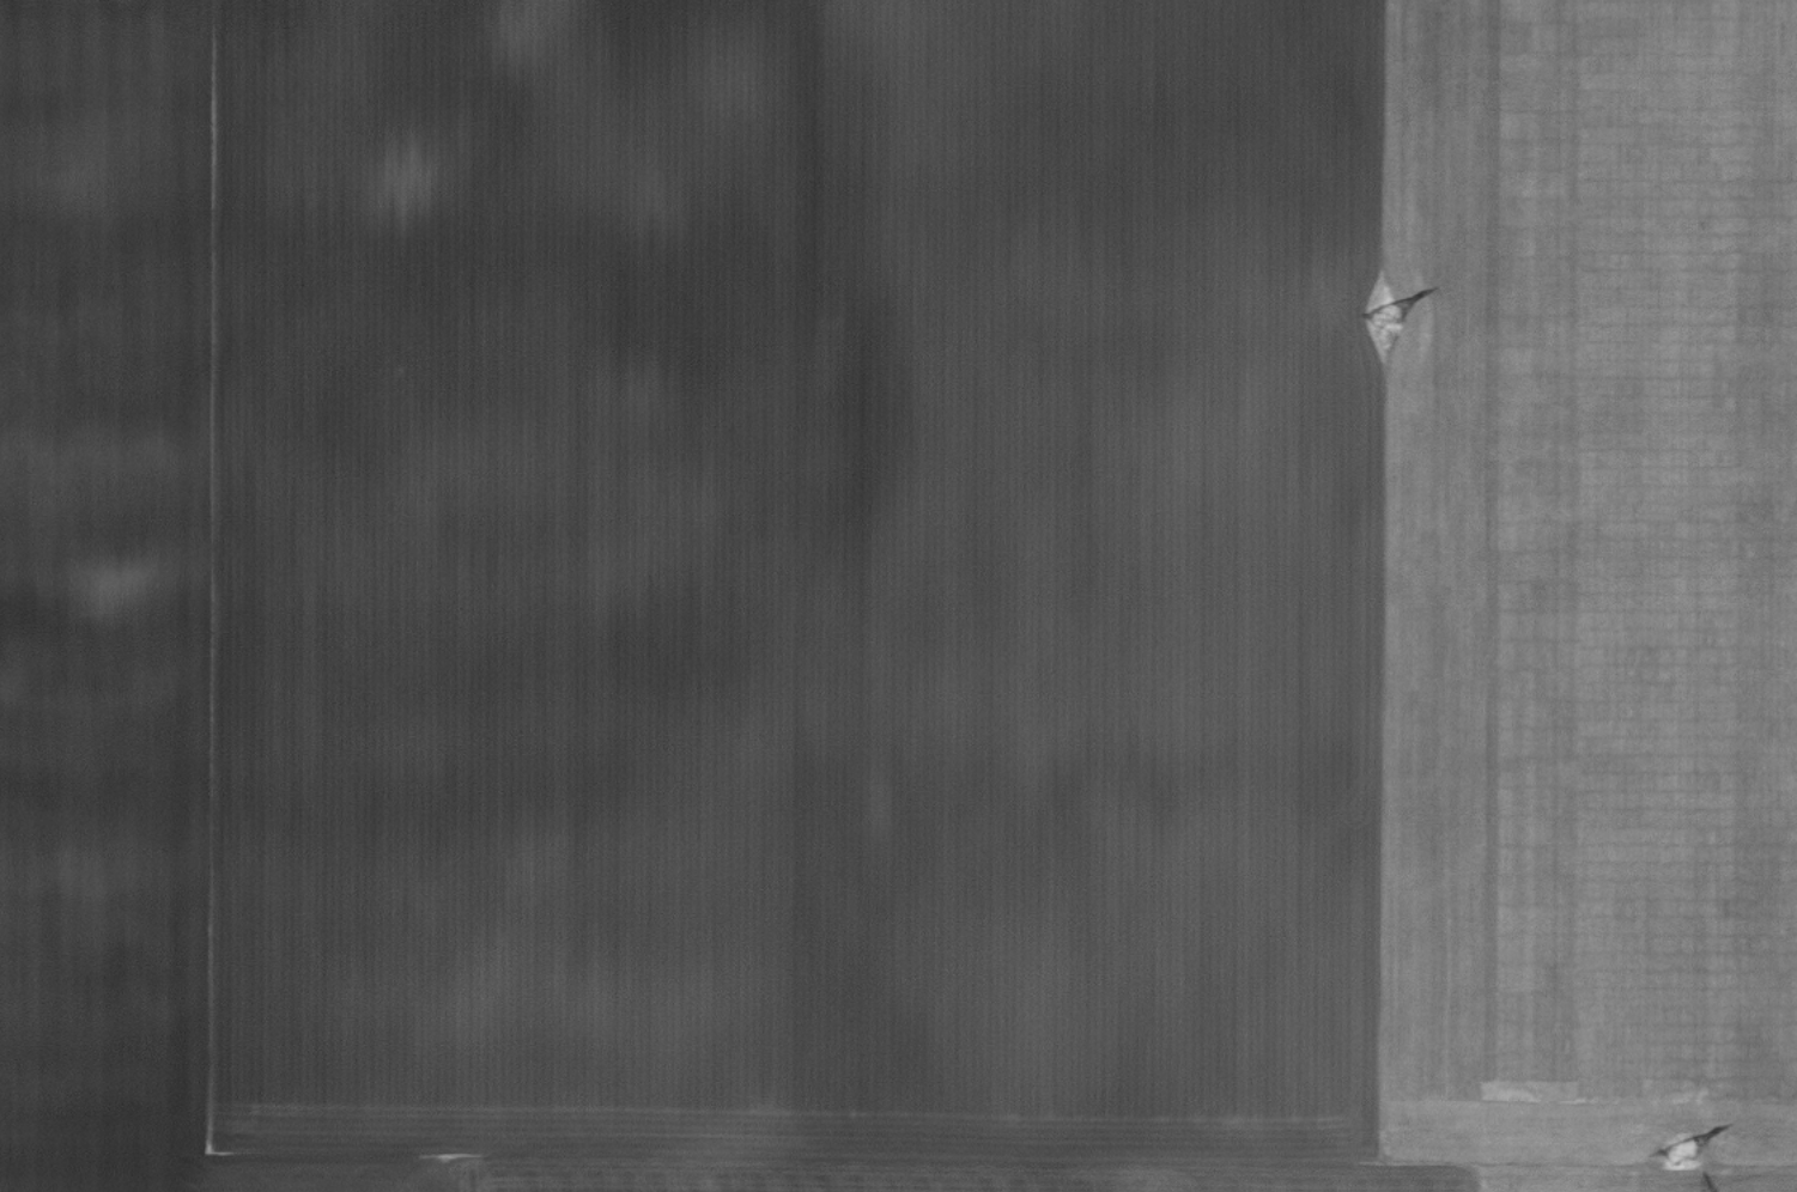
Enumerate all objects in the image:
power tower: (1392, 312)
power tower: (1688, 1156)

